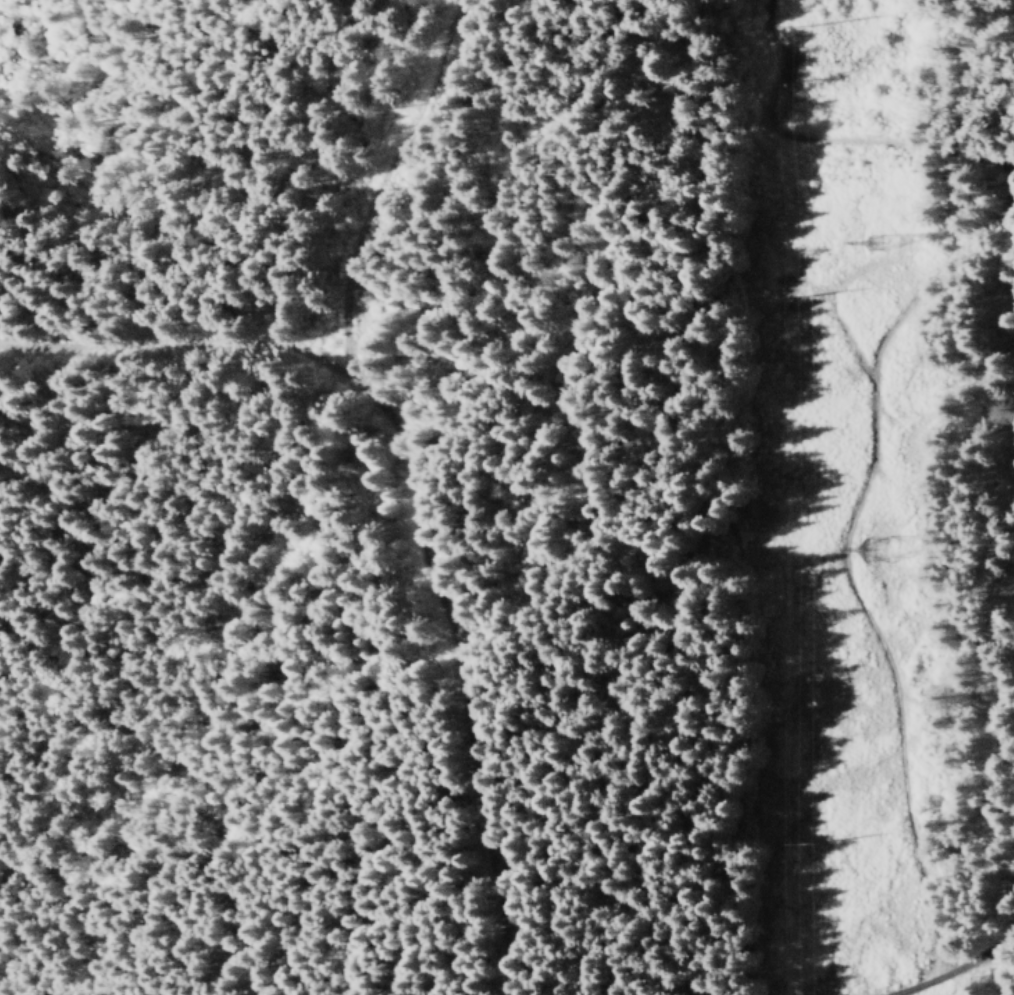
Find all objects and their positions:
power tower: (778, 27)
power tower: (858, 248)
power tower: (786, 297)
power tower: (864, 553)
road: (881, 623)
power tower: (804, 844)

